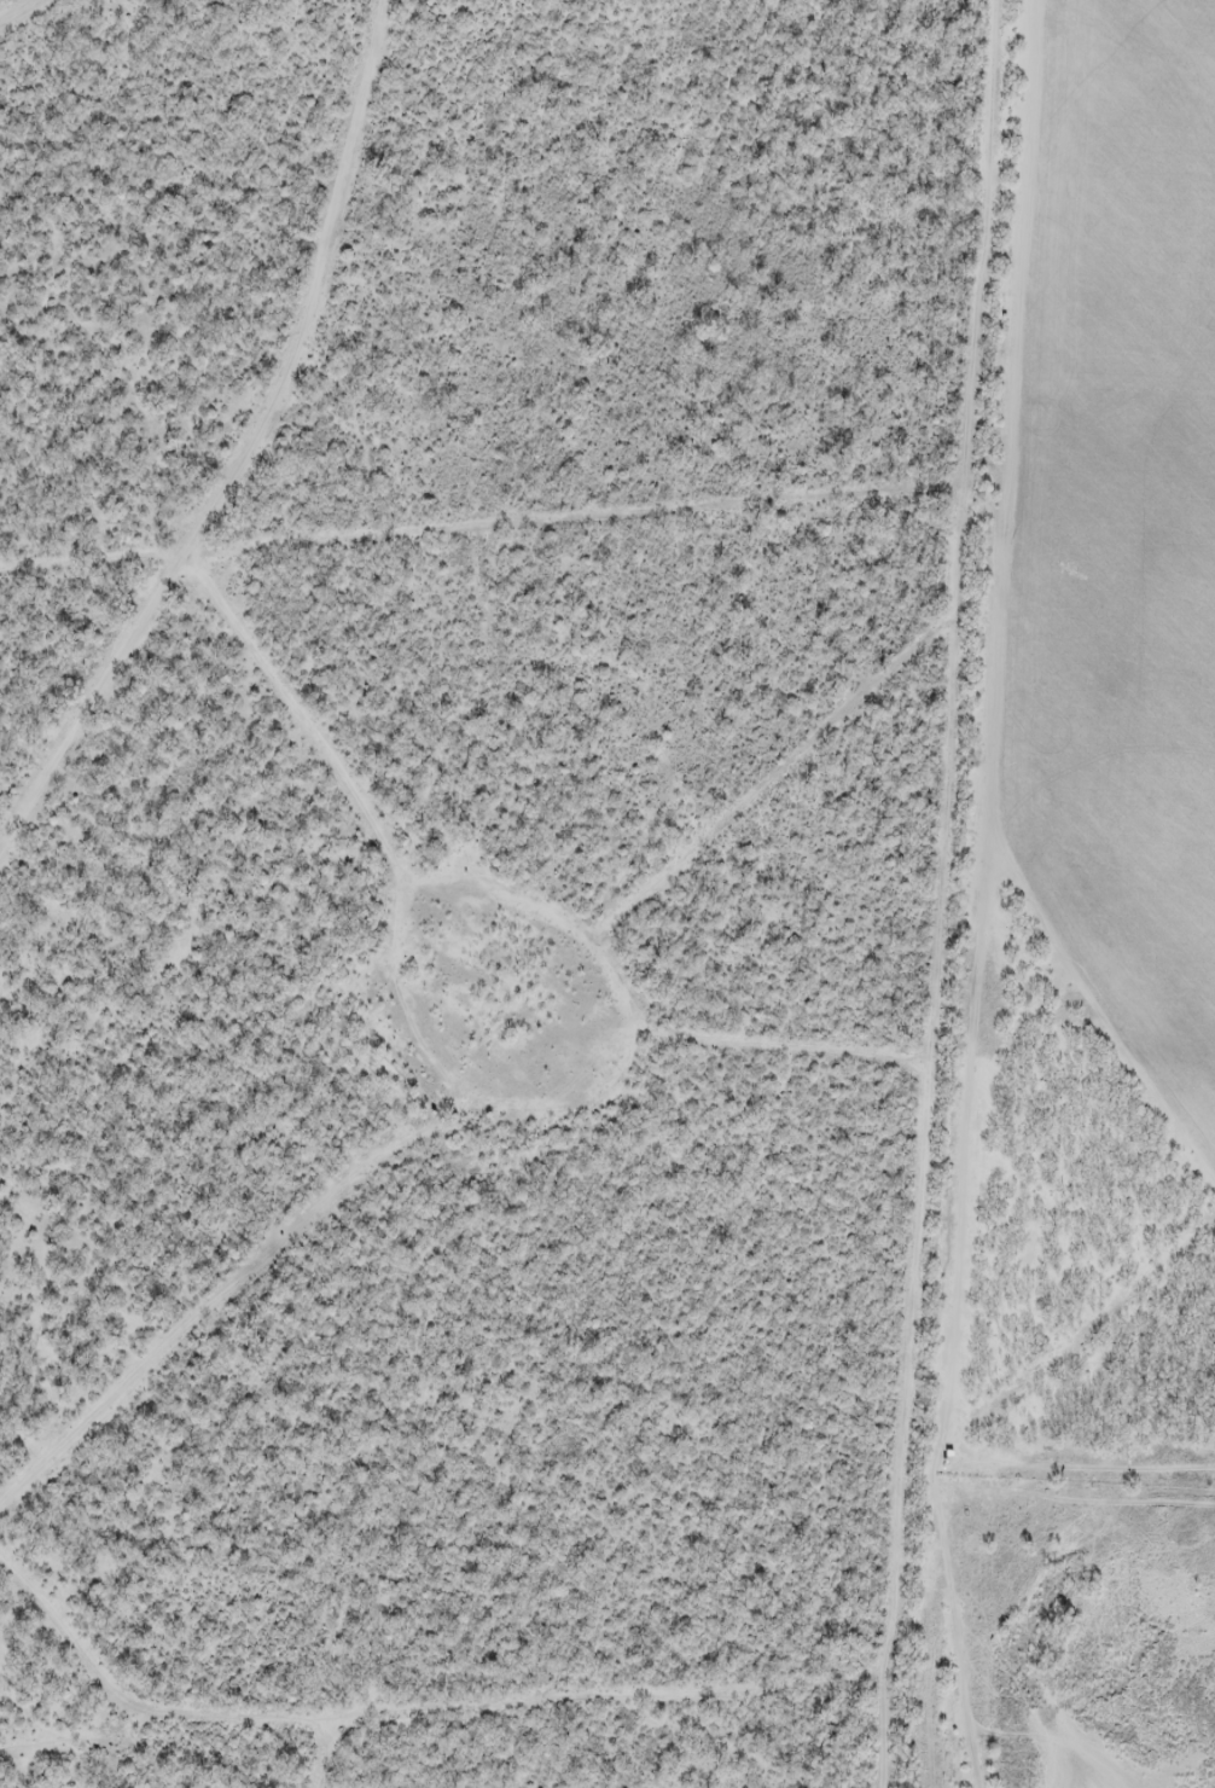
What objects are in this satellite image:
road: (251, 451)
road: (970, 894)

